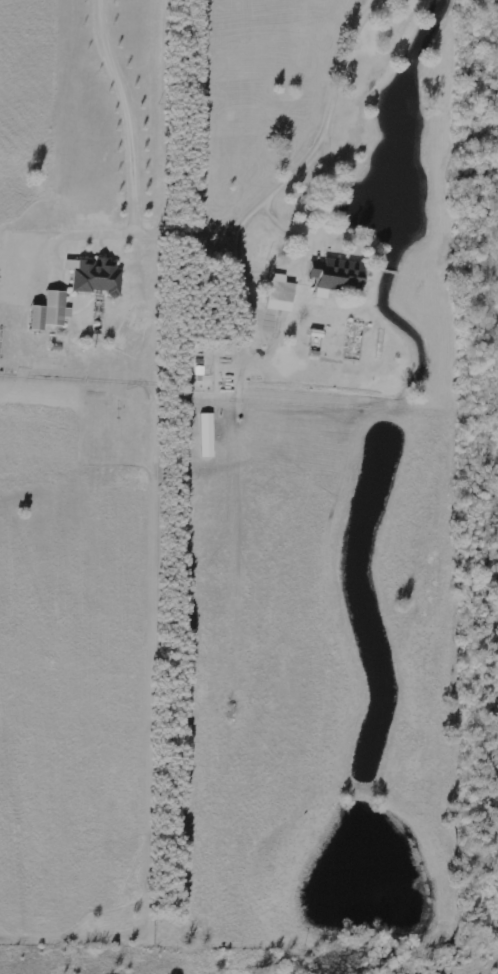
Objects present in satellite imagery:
building: (337, 275)
building: (99, 277)
building: (282, 294)
building: (57, 308)
building: (38, 318)

